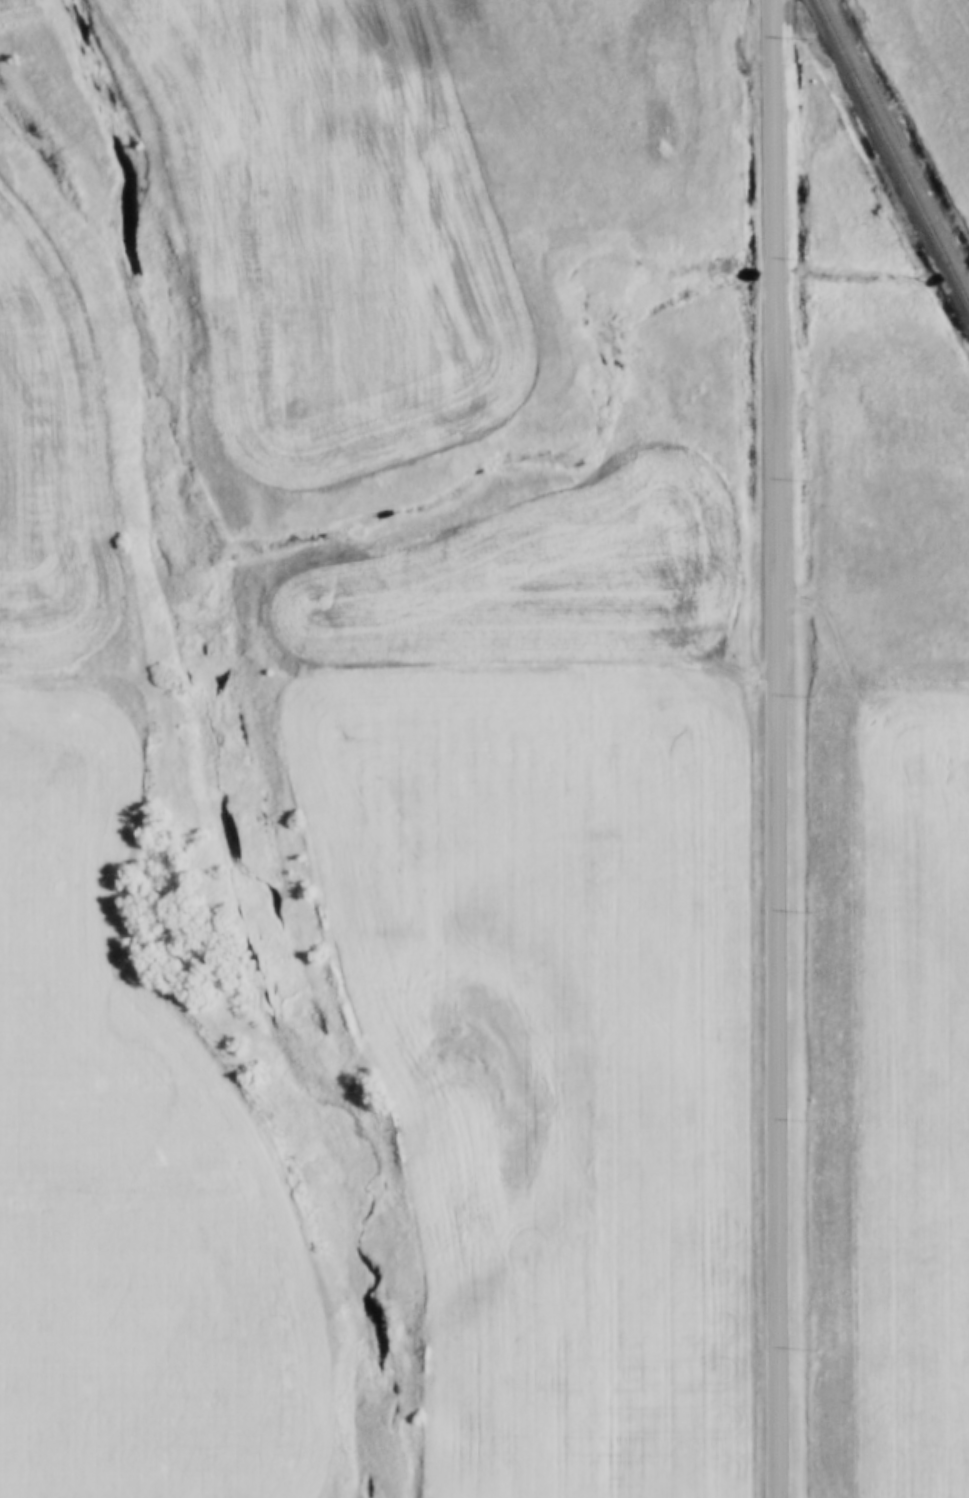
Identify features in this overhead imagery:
railway: (891, 154)
road: (778, 748)

